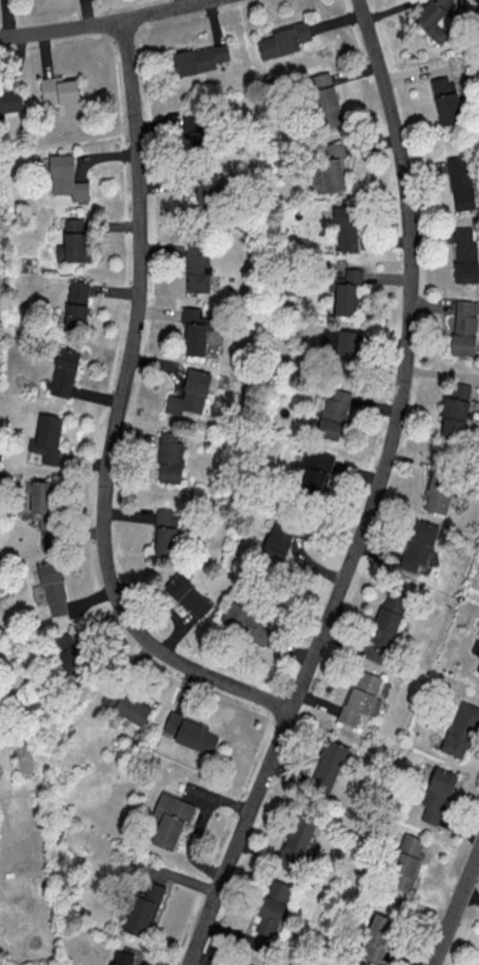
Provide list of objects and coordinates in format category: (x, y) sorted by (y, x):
building: (475, 5)
building: (432, 18)
road: (100, 22)
building: (281, 41)
building: (199, 58)
building: (58, 90)
building: (323, 99)
building: (445, 99)
building: (10, 101)
building: (193, 129)
building: (328, 168)
building: (66, 177)
building: (460, 183)
building: (209, 191)
building: (345, 228)
building: (73, 241)
building: (465, 254)
building: (196, 266)
building: (345, 290)
building: (76, 304)
building: (464, 327)
building: (195, 329)
building: (341, 344)
building: (63, 372)
building: (454, 410)
road: (117, 414)
building: (333, 414)
building: (46, 438)
building: (169, 458)
building: (314, 471)
building: (438, 492)
road: (373, 494)
building: (165, 531)
building: (277, 542)
building: (419, 545)
building: (51, 588)
building: (188, 595)
building: (388, 617)
building: (248, 622)
building: (478, 654)
building: (70, 657)
building: (477, 668)
building: (360, 697)
building: (125, 705)
building: (461, 729)
building: (190, 732)
building: (327, 768)
building: (437, 794)
building: (171, 819)
building: (297, 845)
building: (405, 863)
building: (272, 906)
road: (455, 908)
building: (143, 910)
building: (376, 937)
building: (122, 958)
building: (242, 963)

